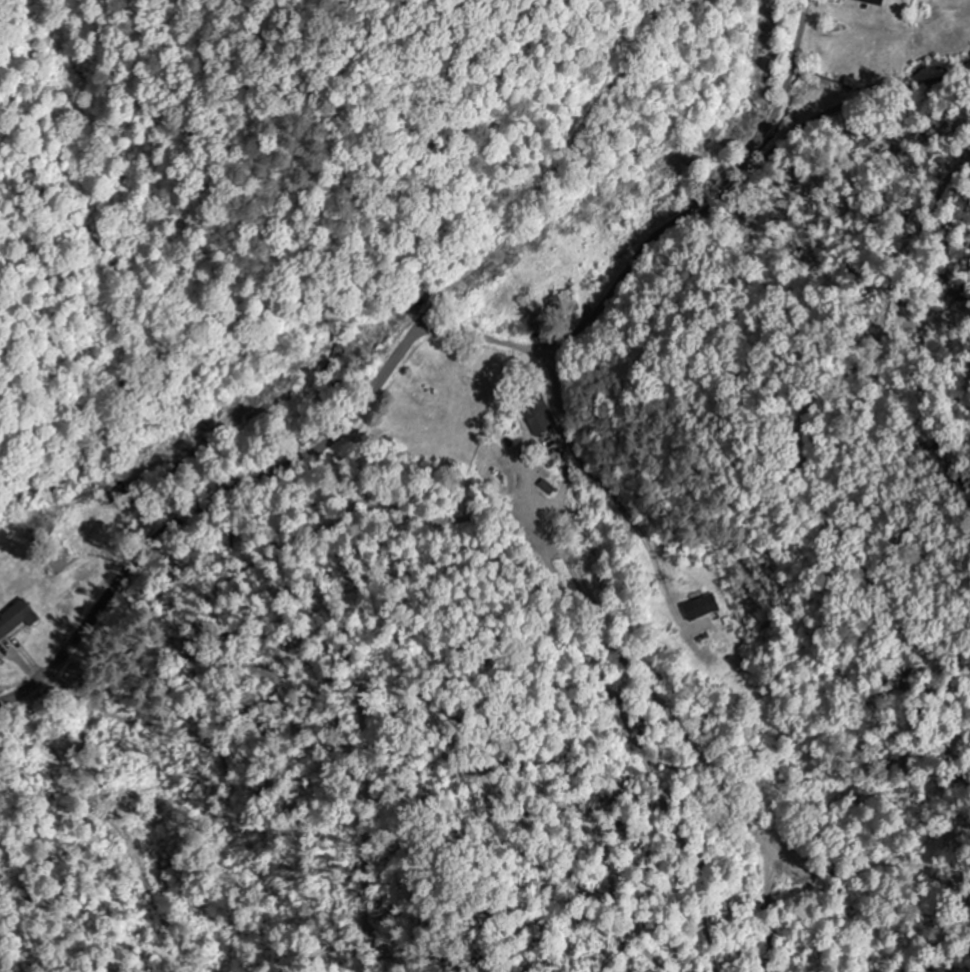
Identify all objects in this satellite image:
building: (871, 2)
road: (786, 90)
road: (577, 185)
road: (693, 214)
building: (563, 305)
building: (539, 419)
road: (212, 509)
building: (700, 608)
building: (15, 620)

